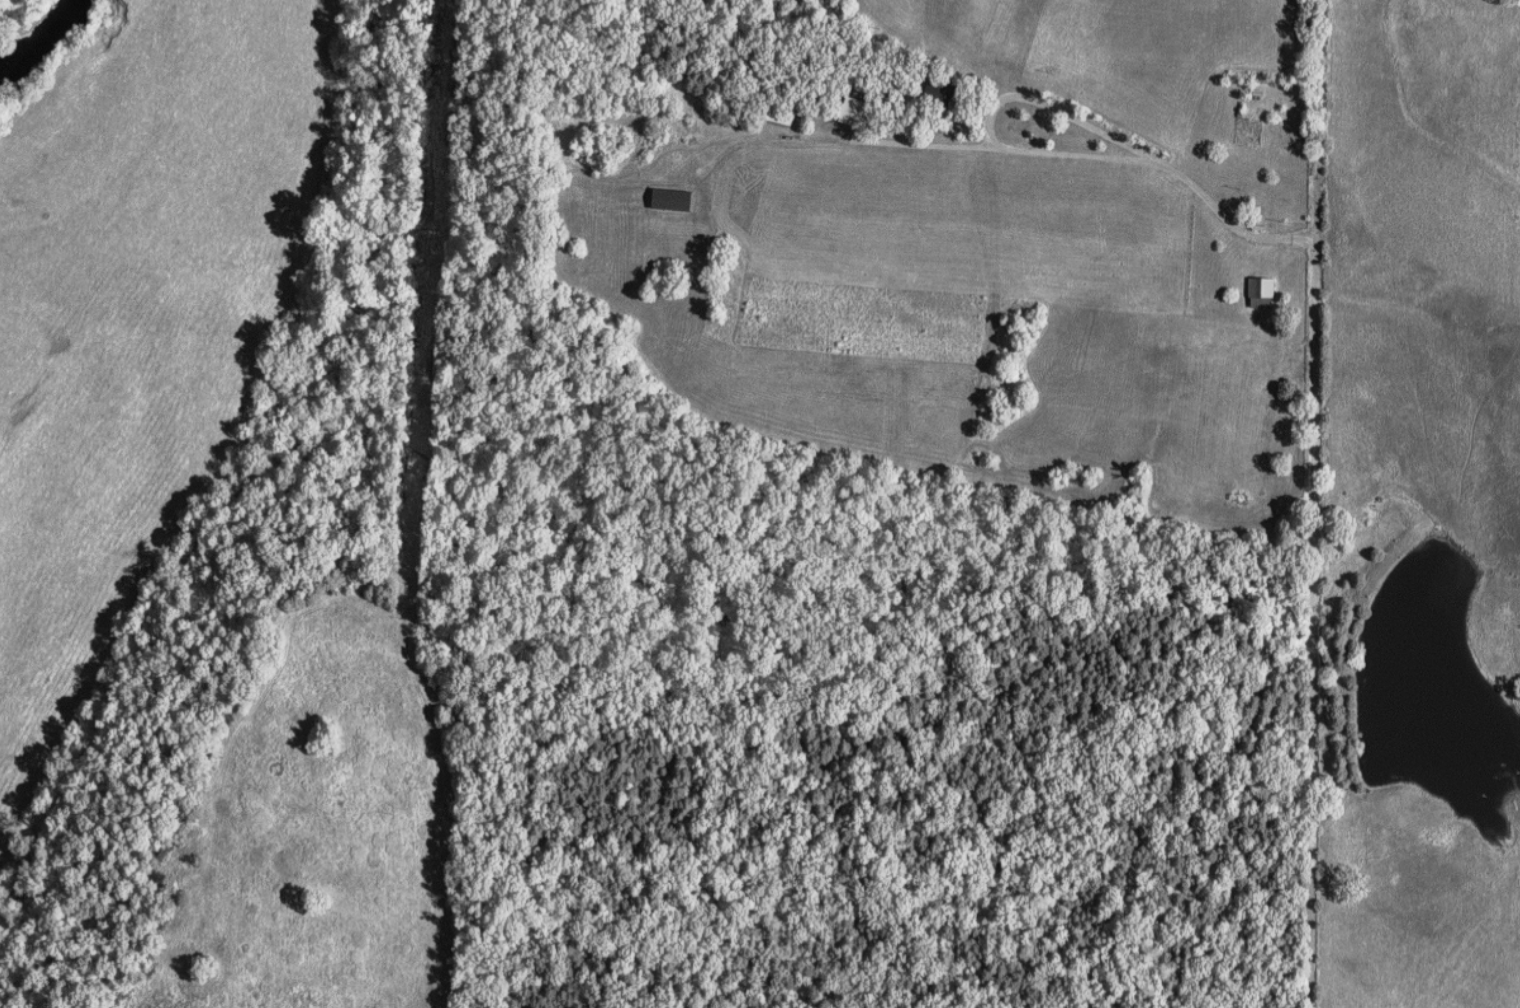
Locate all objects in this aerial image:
river: (38, 46)
building: (848, 110)
building: (669, 199)
building: (1260, 293)
road: (1321, 315)

